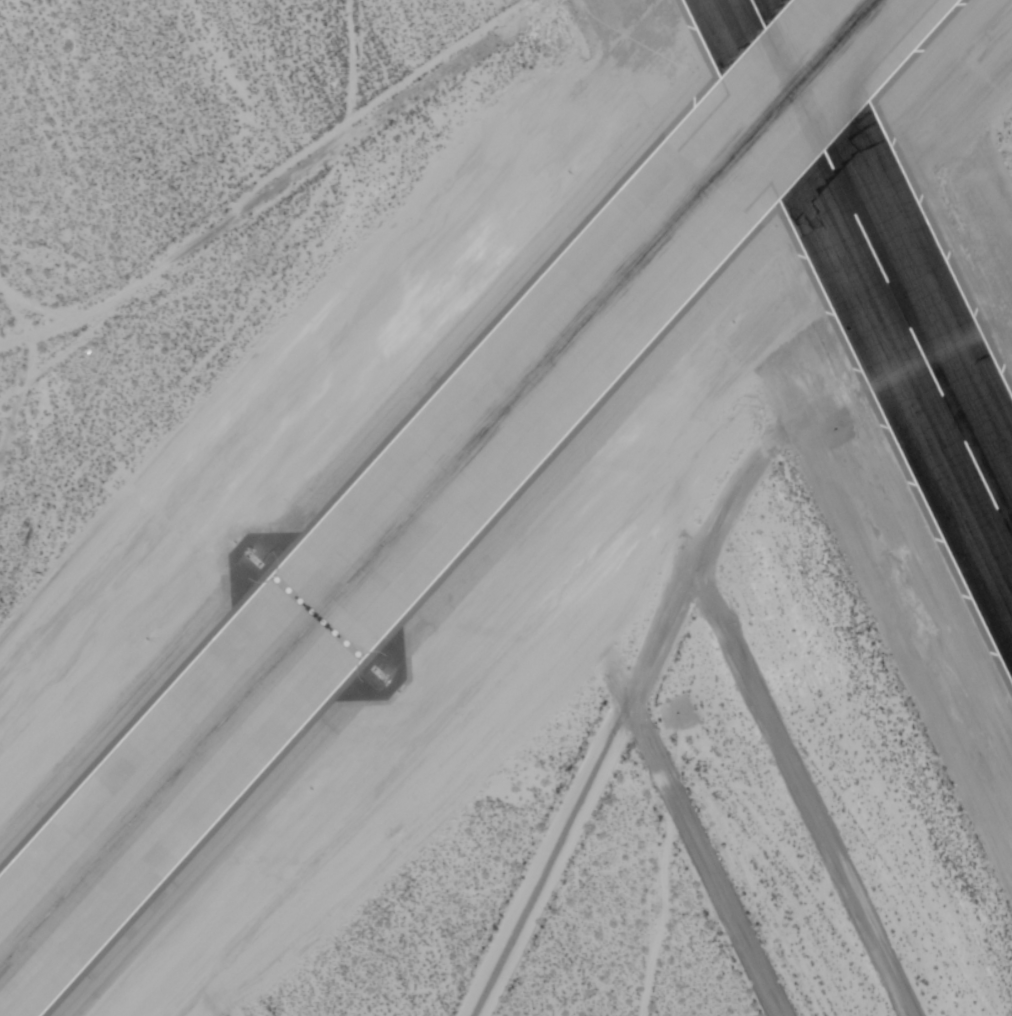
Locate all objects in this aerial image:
building: (862, 224)
airport runway: (881, 270)
airport runway: (437, 482)
airport: (506, 508)

